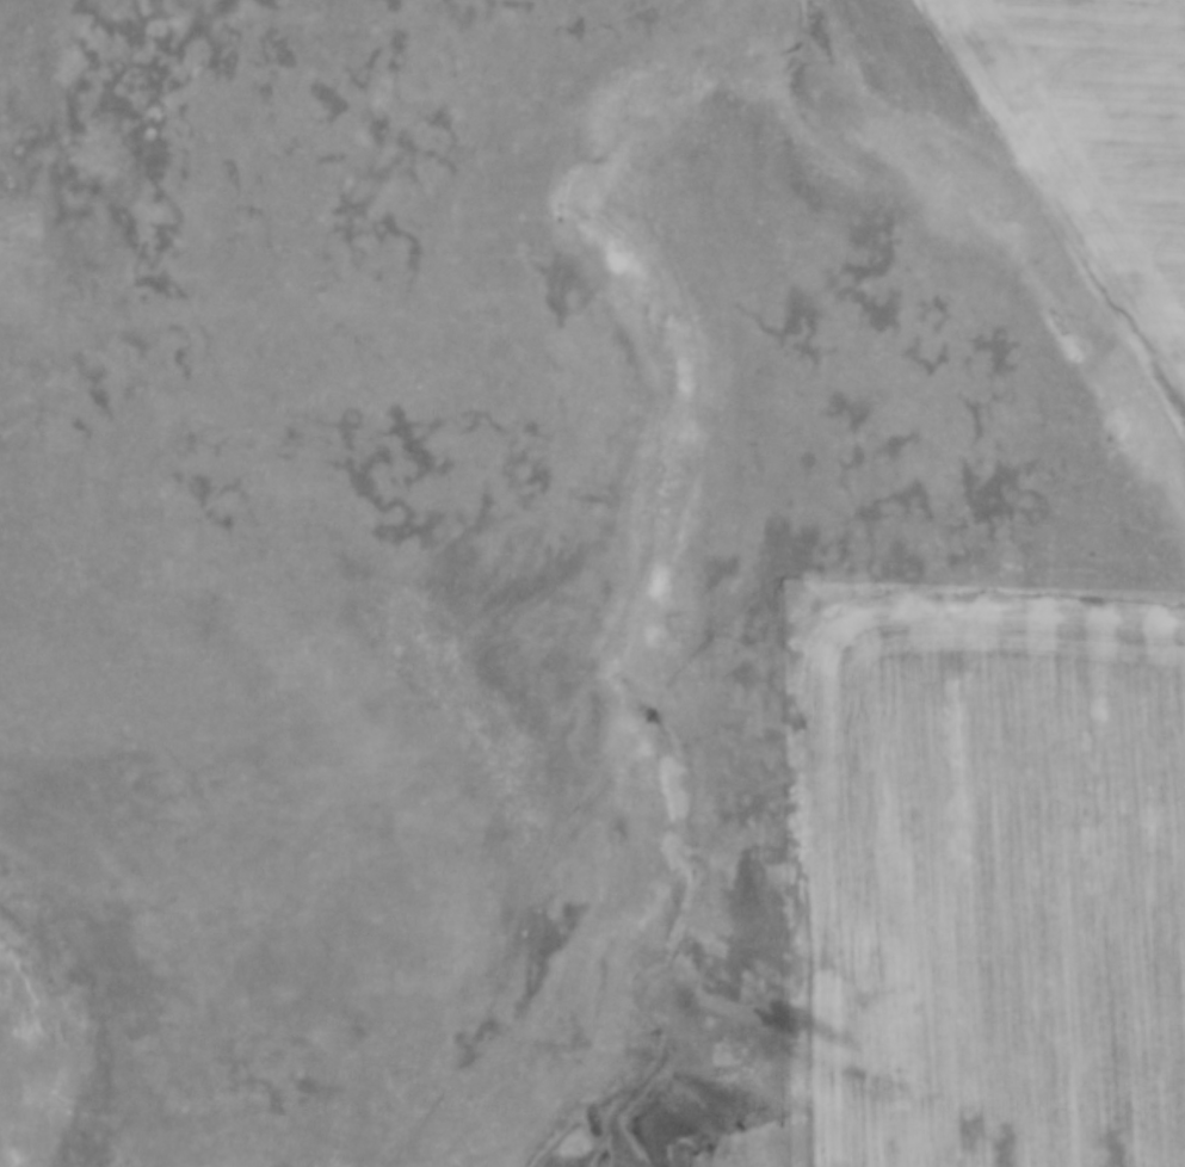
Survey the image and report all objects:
road: (1057, 208)

